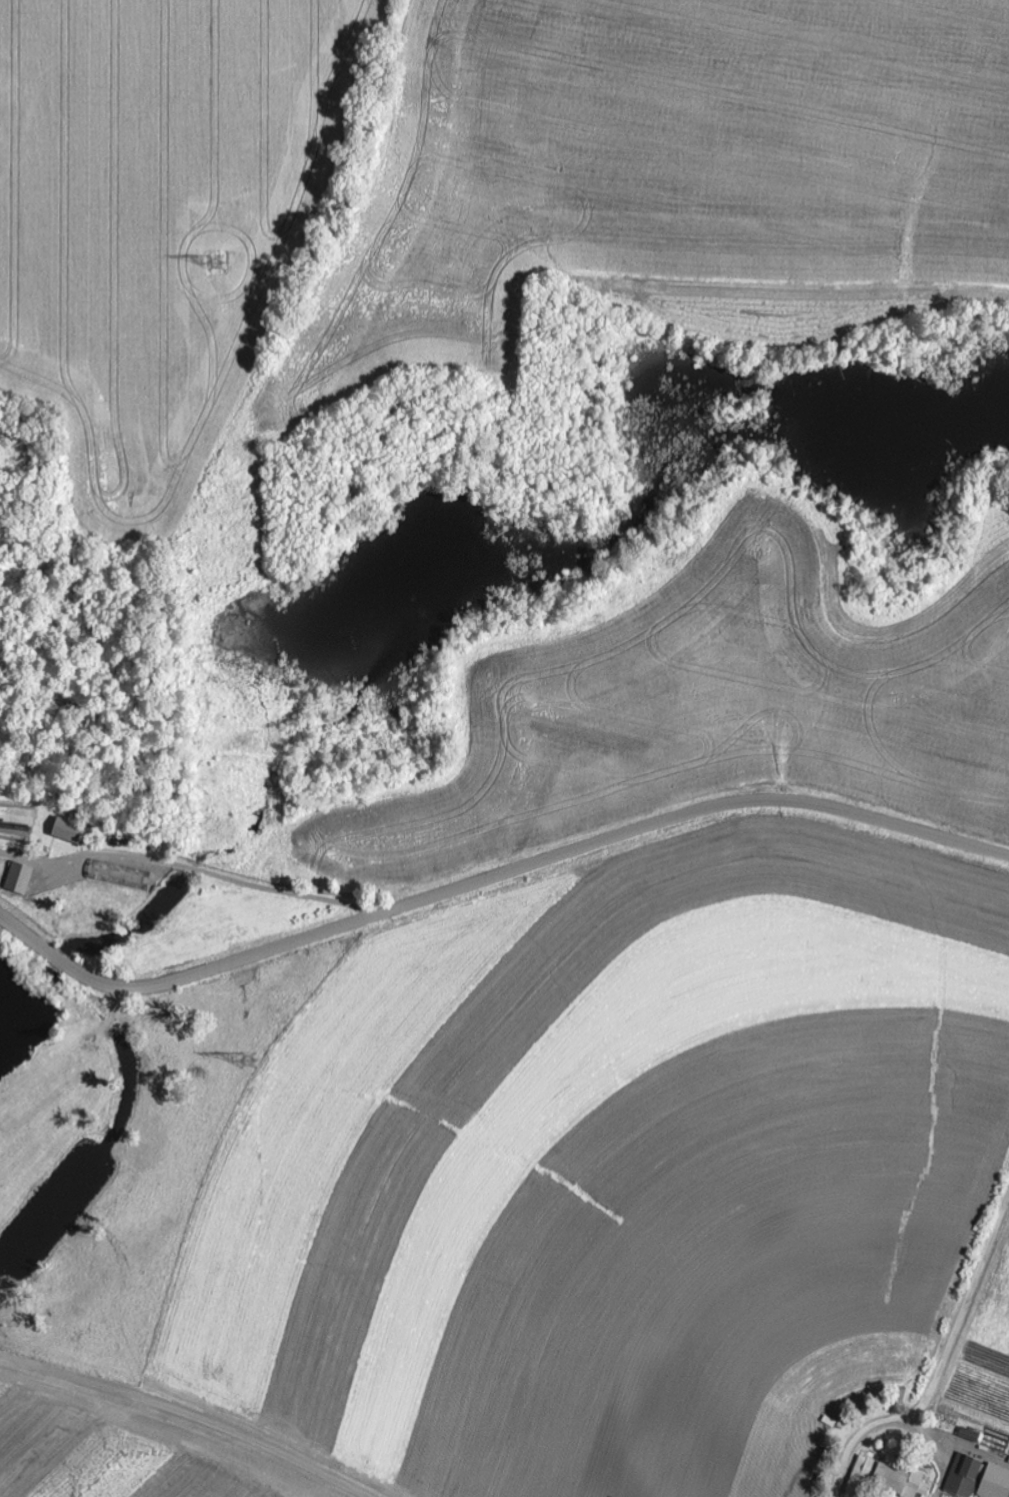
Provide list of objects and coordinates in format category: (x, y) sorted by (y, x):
power tower: (217, 264)
building: (68, 832)
building: (118, 876)
road: (494, 877)
building: (19, 878)
power tower: (238, 1067)
road: (942, 1368)
building: (969, 1435)
building: (971, 1478)
building: (885, 1480)

